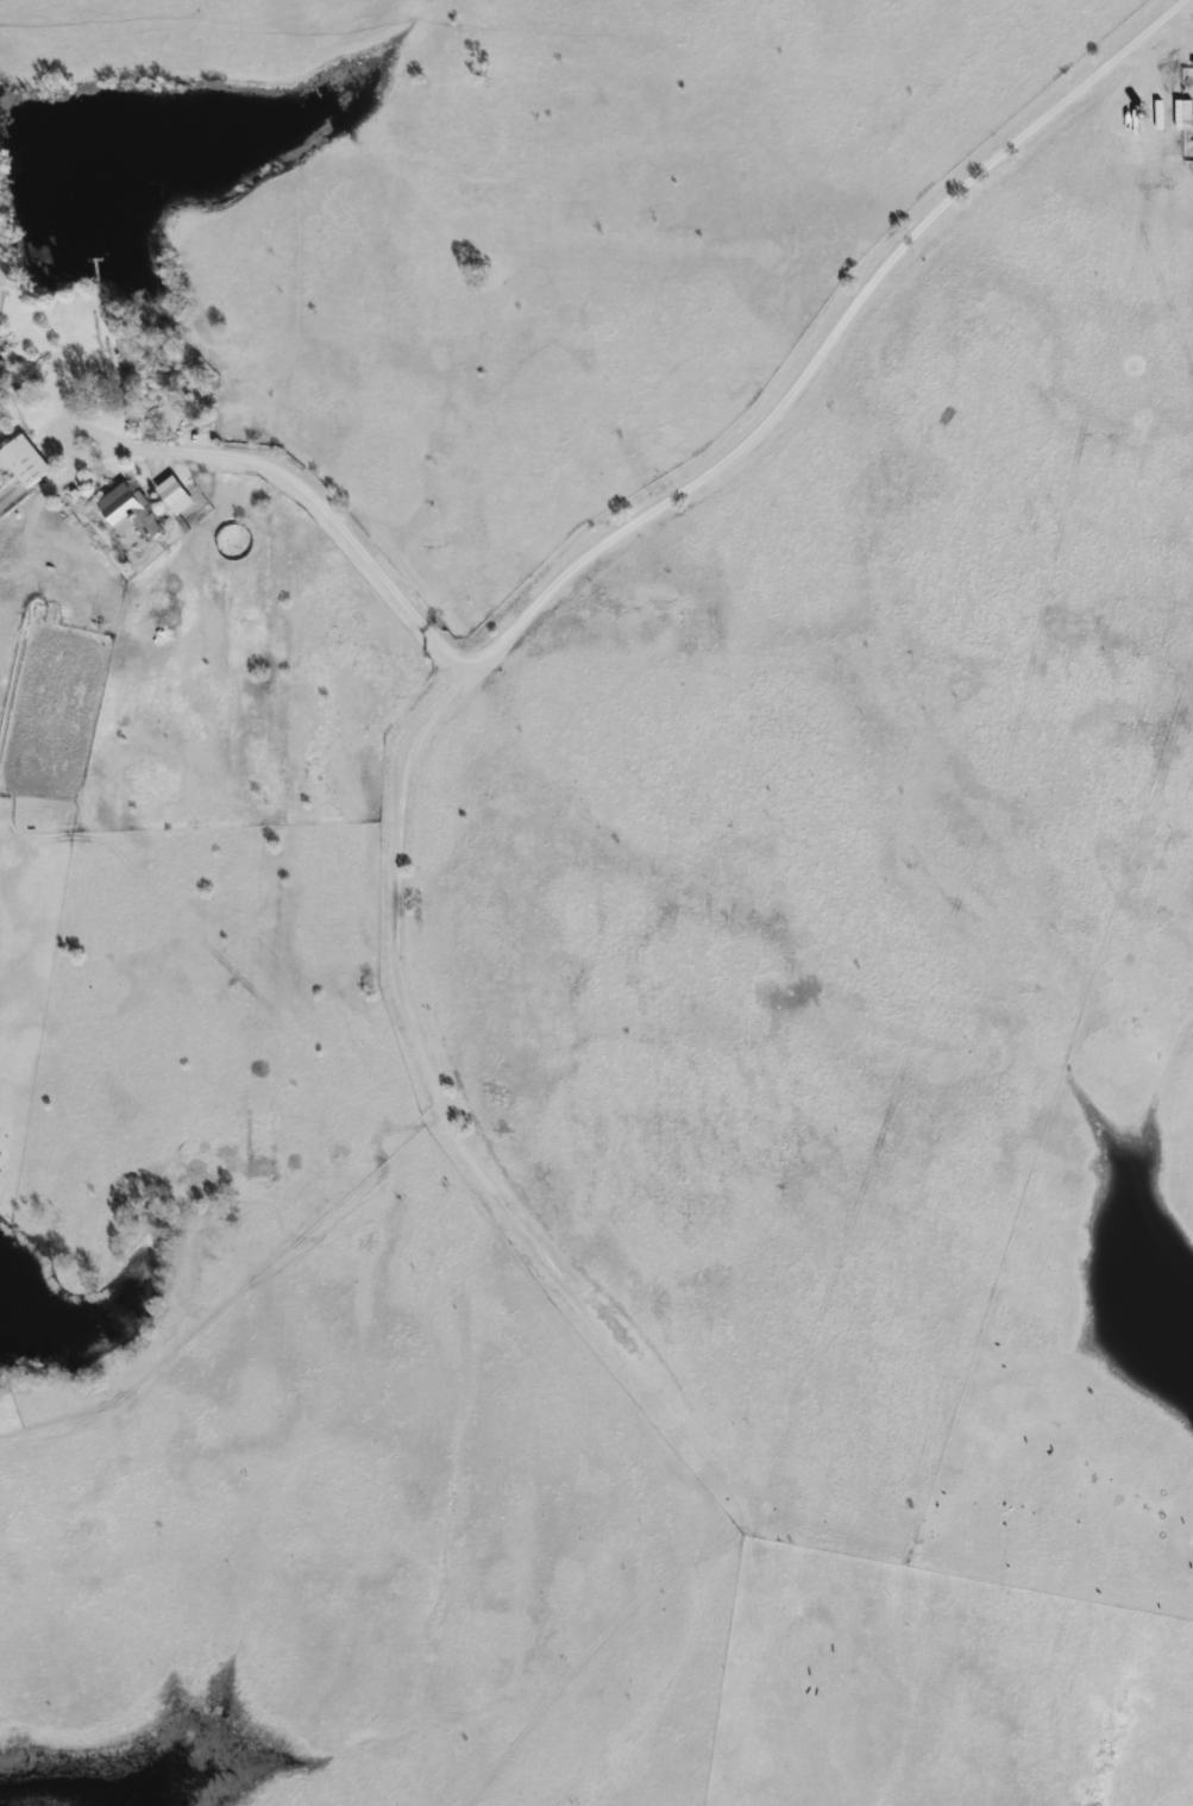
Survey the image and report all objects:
building: (1181, 113)
building: (1, 366)
building: (21, 460)
building: (172, 494)
road: (661, 502)
building: (126, 512)

